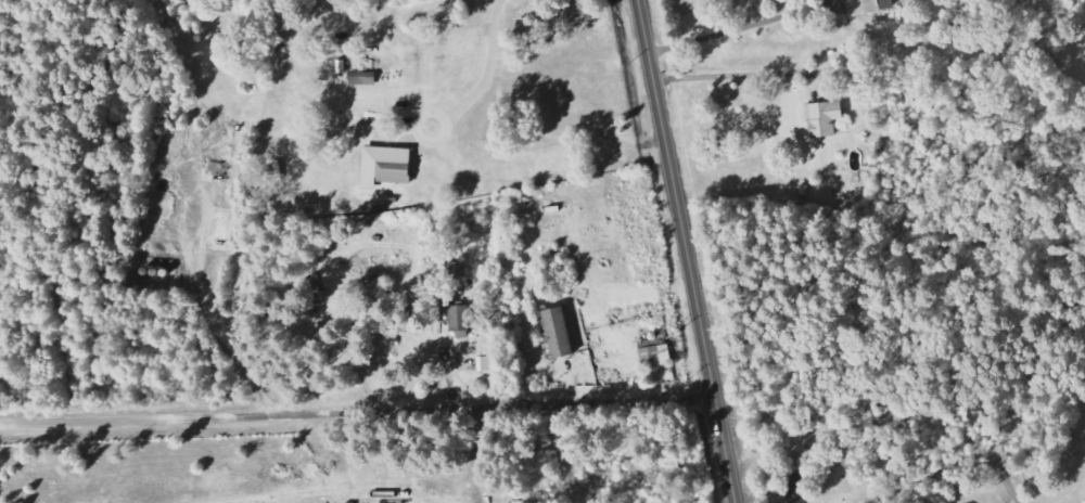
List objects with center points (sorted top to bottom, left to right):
building: (879, 5)
building: (363, 80)
building: (825, 118)
building: (387, 166)
road: (686, 250)
building: (461, 322)
building: (559, 332)
building: (656, 354)
building: (489, 363)
road: (357, 415)

